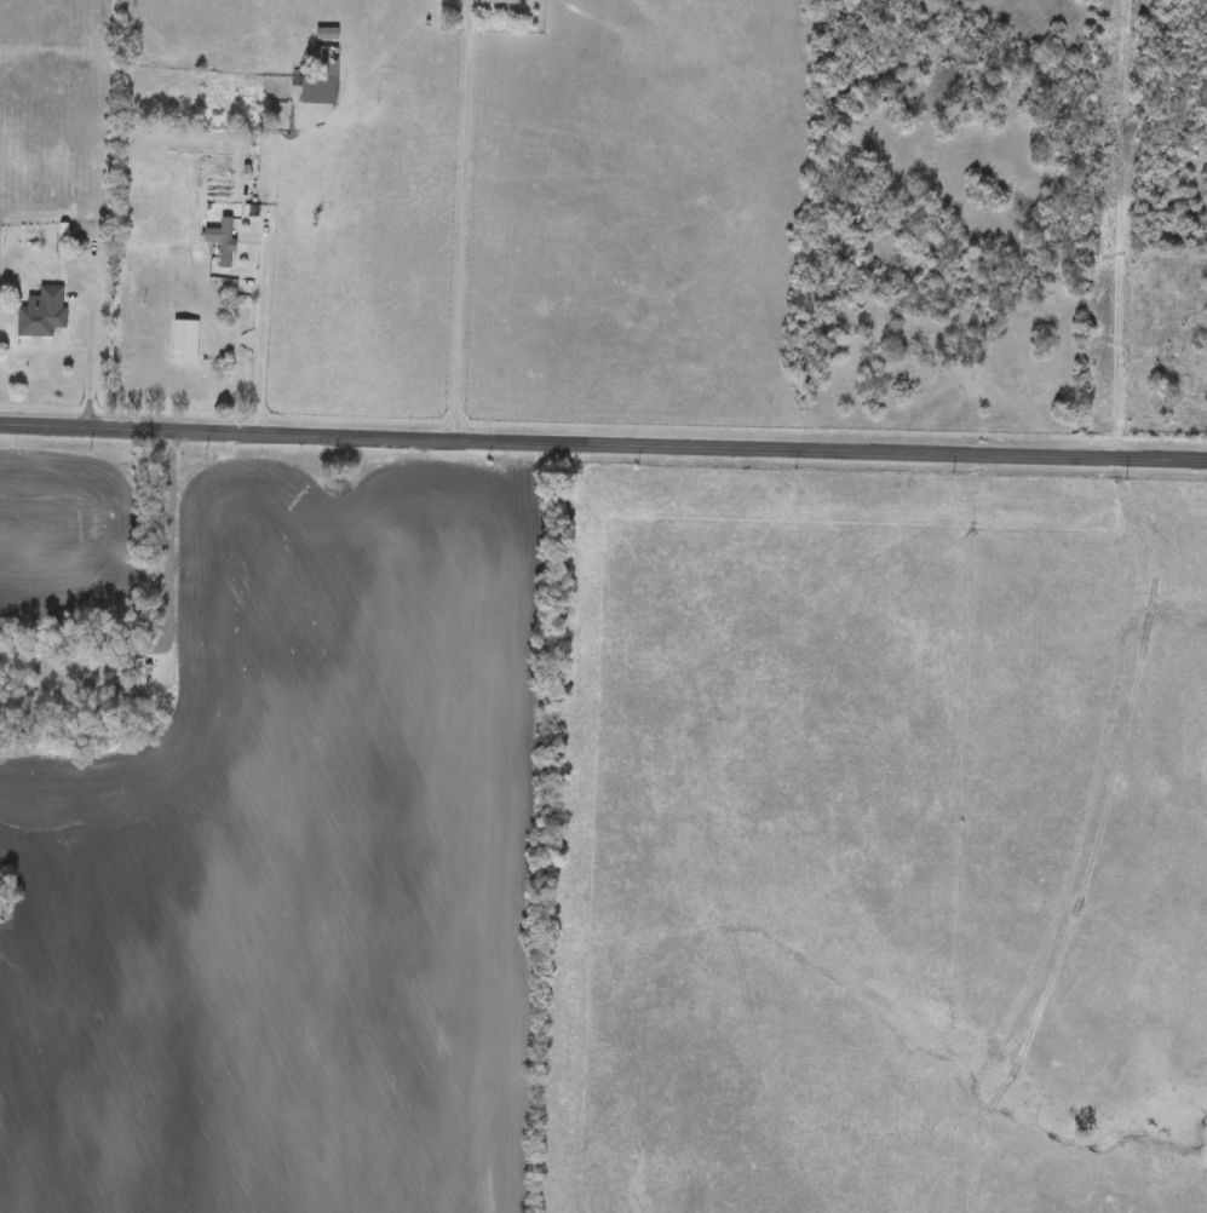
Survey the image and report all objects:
building: (500, 1)
building: (322, 77)
road: (459, 220)
building: (224, 241)
building: (42, 312)
road: (259, 334)
road: (603, 442)
road: (163, 531)
building: (139, 683)

